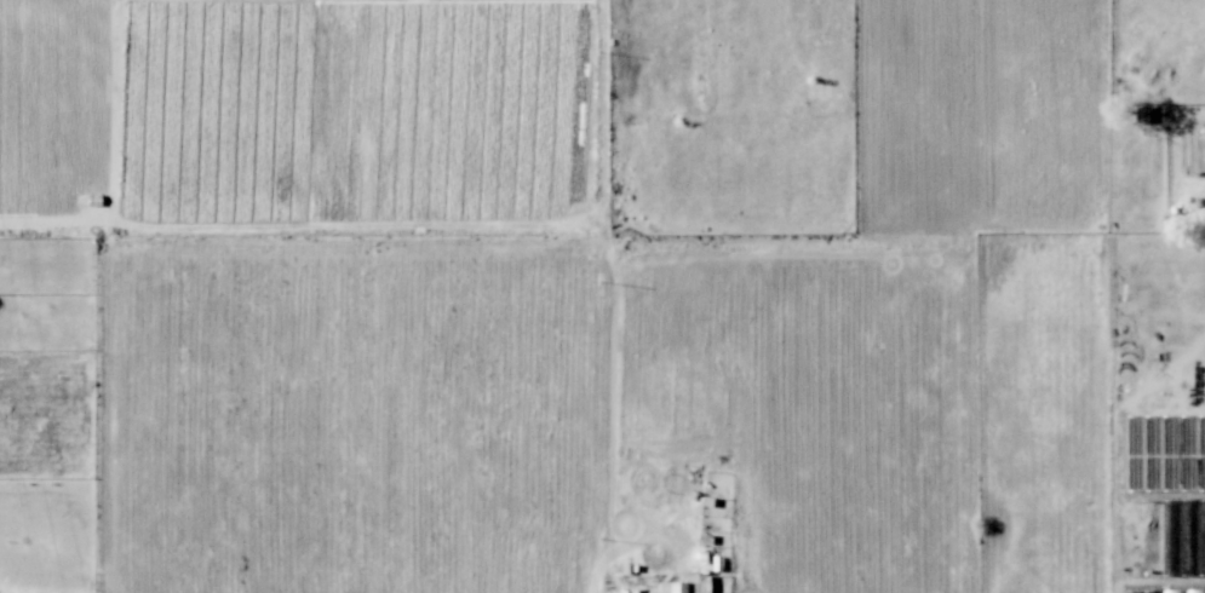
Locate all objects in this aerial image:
building: (1141, 113)
building: (687, 585)

